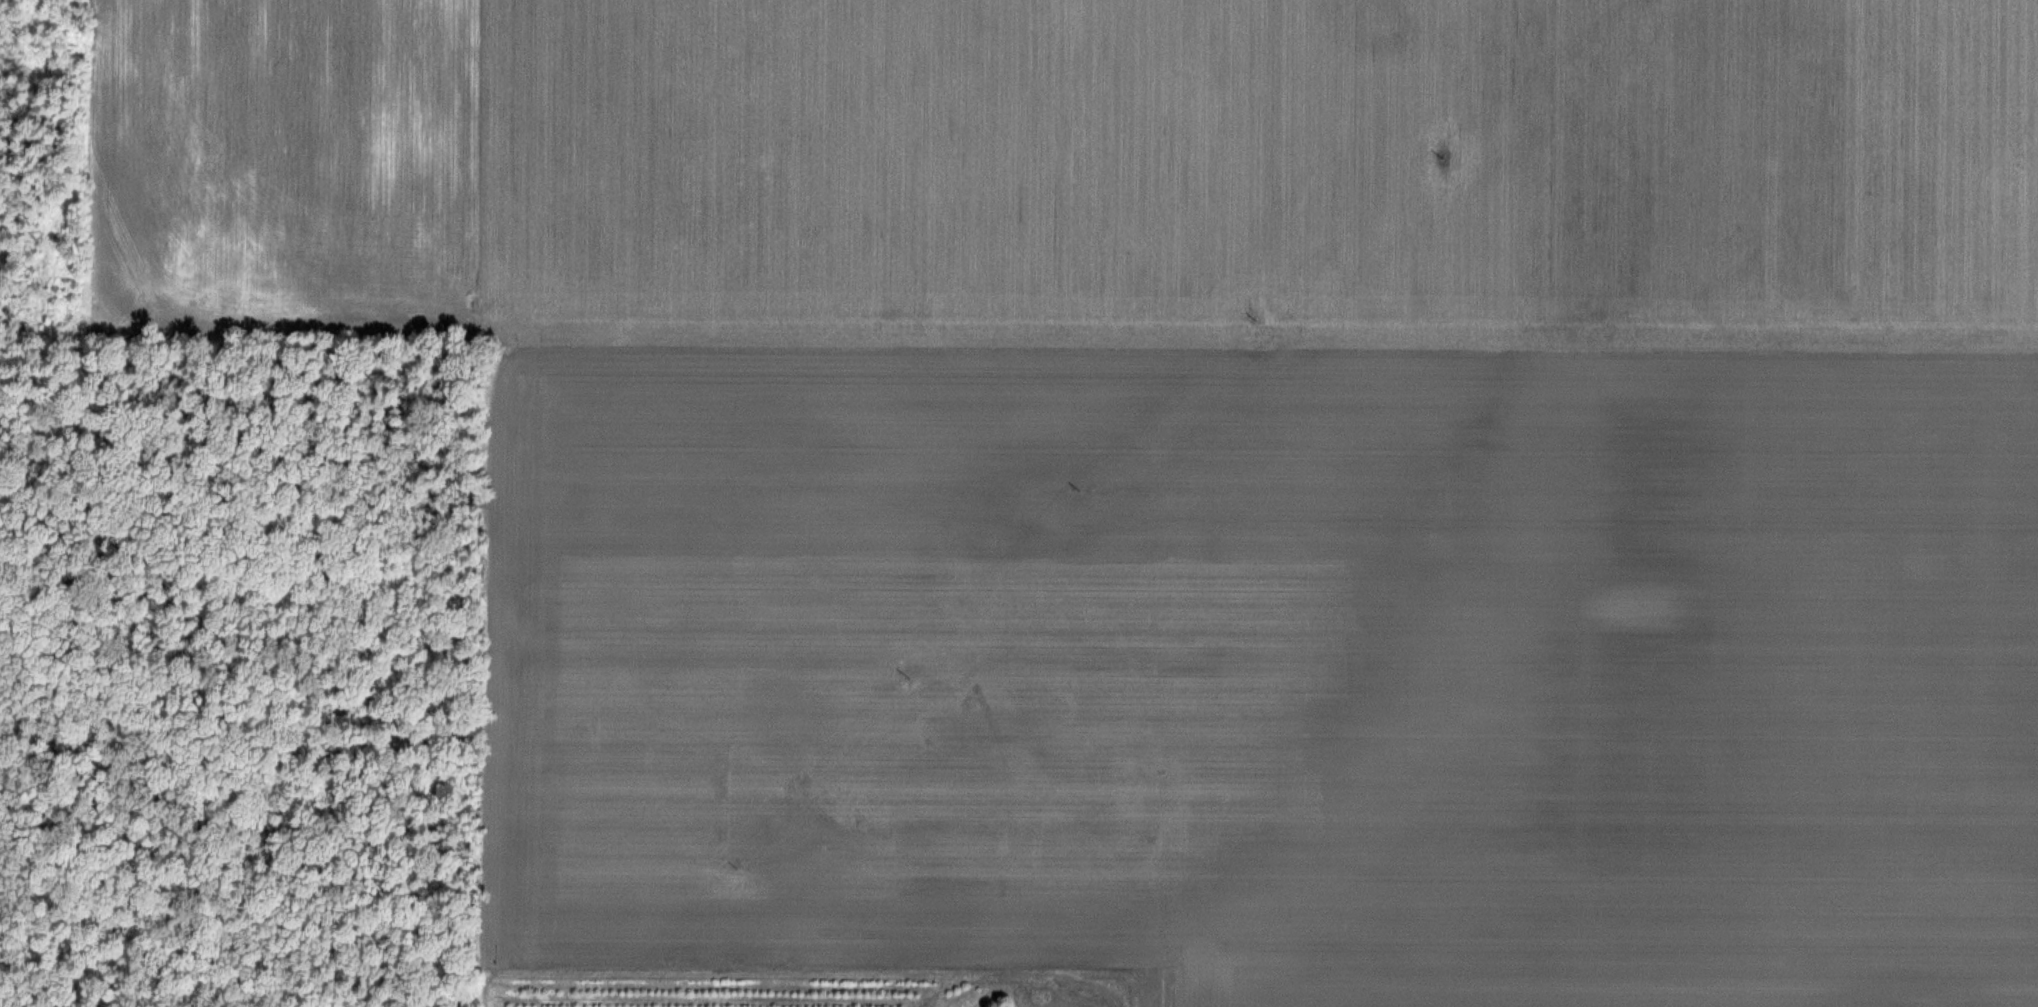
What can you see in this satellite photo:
road: (1935, 824)

